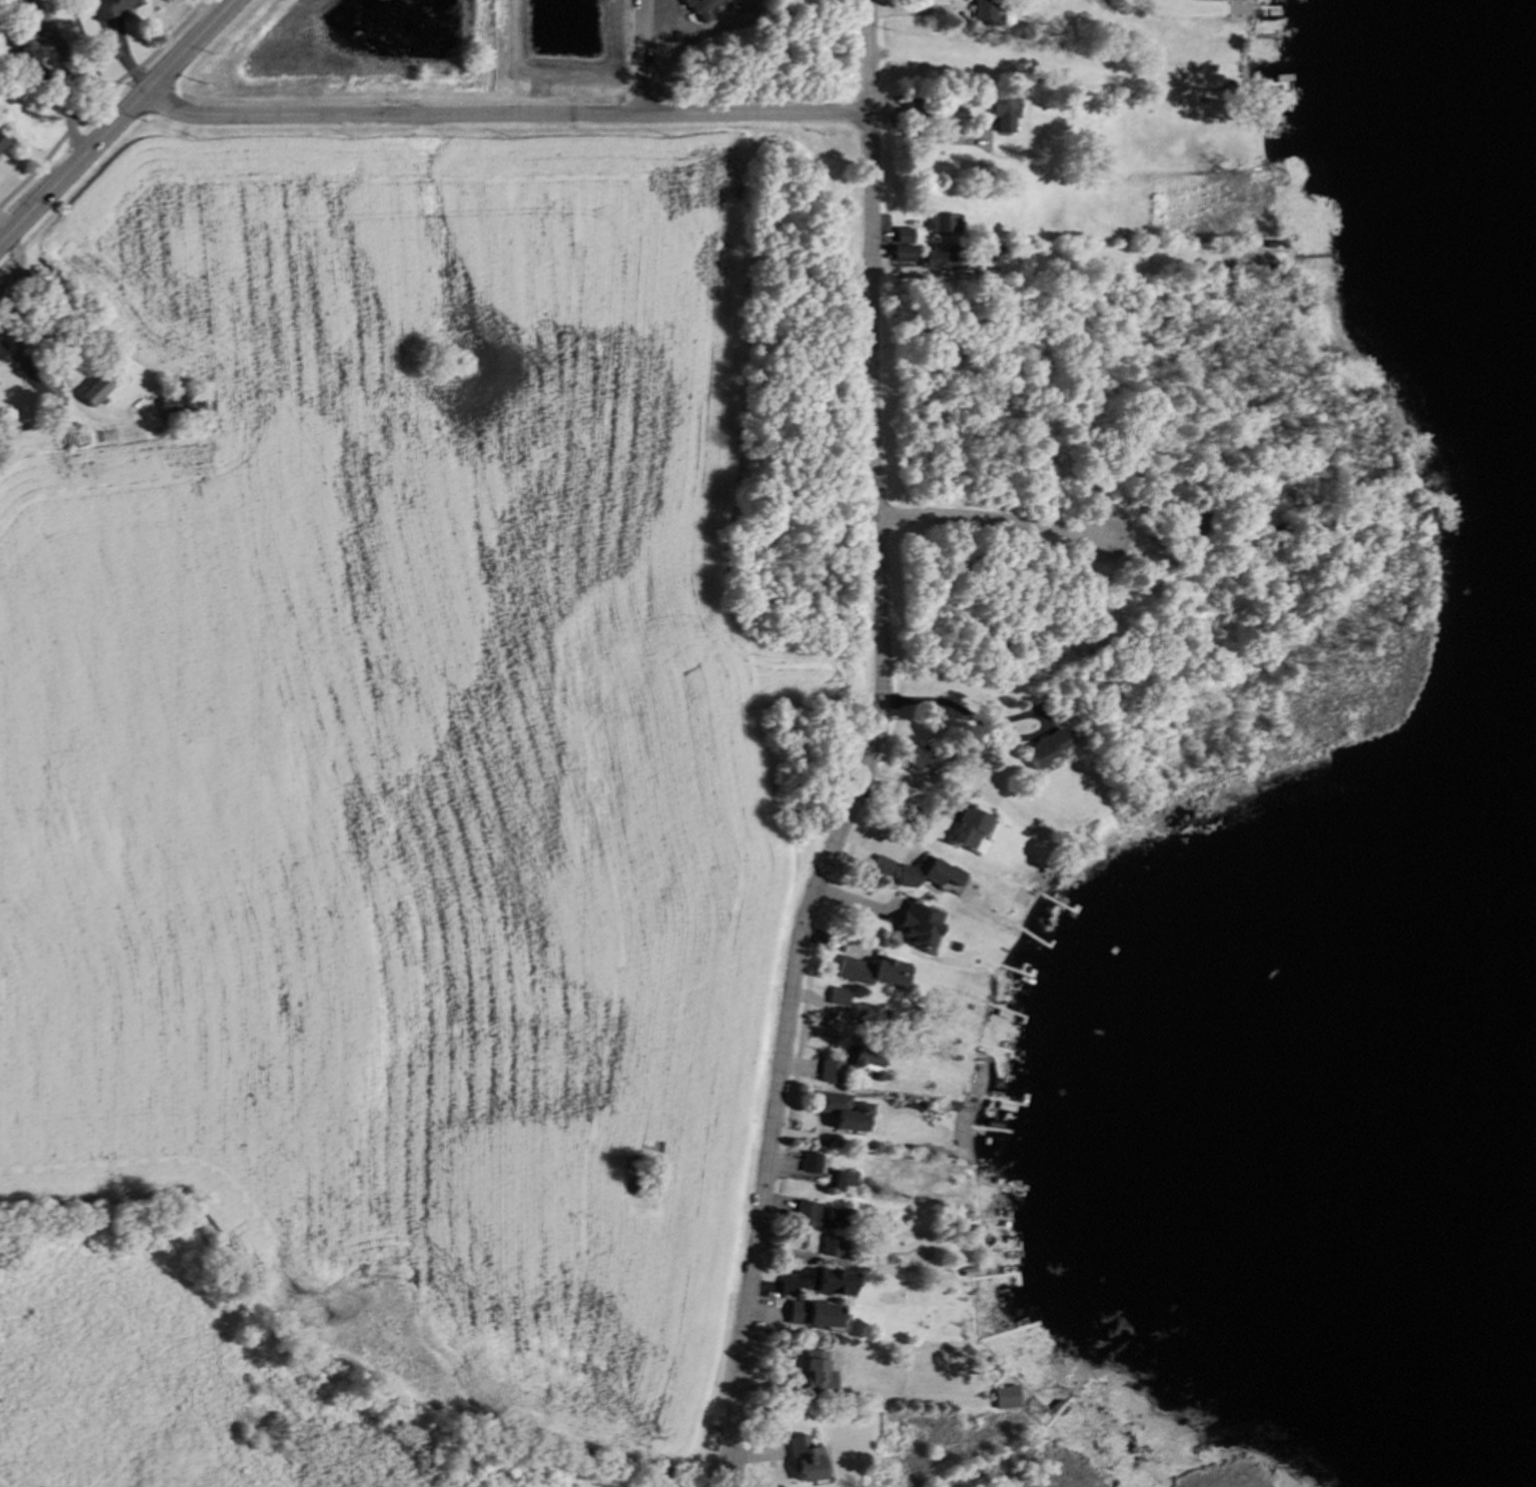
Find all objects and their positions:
building: (112, 7)
building: (705, 7)
building: (984, 12)
building: (25, 53)
road: (869, 57)
road: (648, 58)
road: (71, 95)
road: (98, 98)
building: (1004, 112)
road: (505, 116)
road: (117, 122)
building: (1, 142)
building: (942, 223)
building: (904, 235)
building: (902, 254)
building: (994, 254)
building: (939, 258)
road: (19, 277)
road: (35, 346)
building: (41, 383)
building: (94, 390)
building: (181, 405)
road: (989, 520)
road: (997, 732)
building: (1043, 749)
building: (912, 761)
crop: (406, 763)
road: (854, 797)
building: (968, 829)
building: (879, 866)
building: (930, 875)
building: (918, 924)
building: (872, 971)
building: (838, 996)
building: (866, 1014)
building: (863, 1056)
building: (830, 1071)
building: (844, 1112)
building: (811, 1162)
building: (843, 1180)
building: (817, 1216)
building: (833, 1246)
building: (829, 1282)
building: (789, 1284)
building: (813, 1314)
building: (818, 1372)
building: (1006, 1397)
building: (805, 1460)

